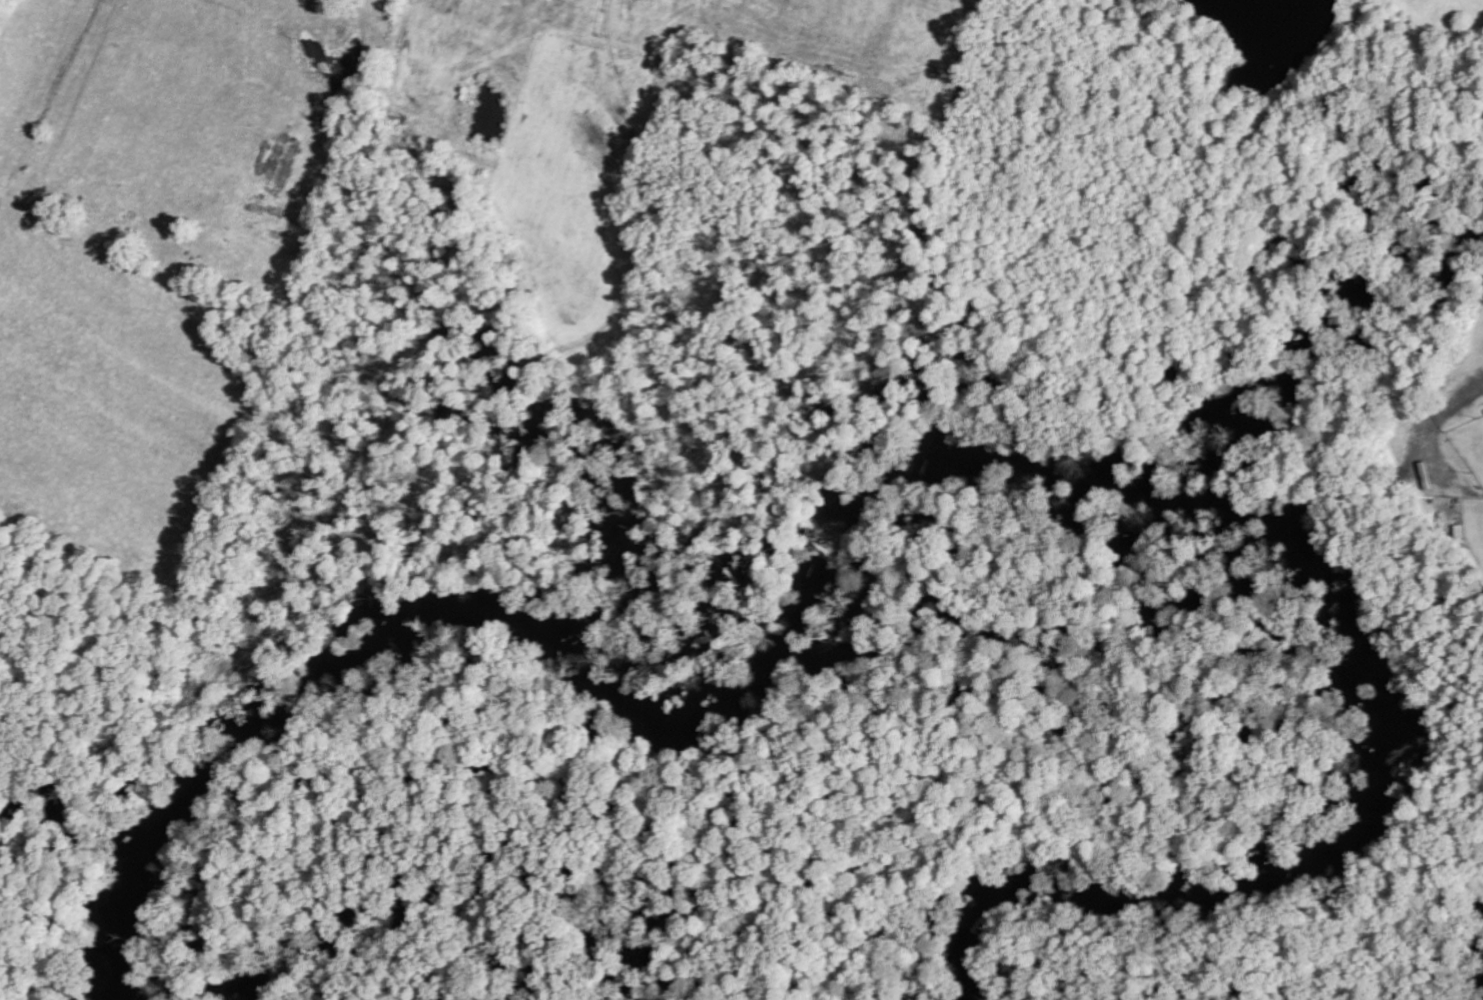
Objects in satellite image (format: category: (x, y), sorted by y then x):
river: (942, 461)

